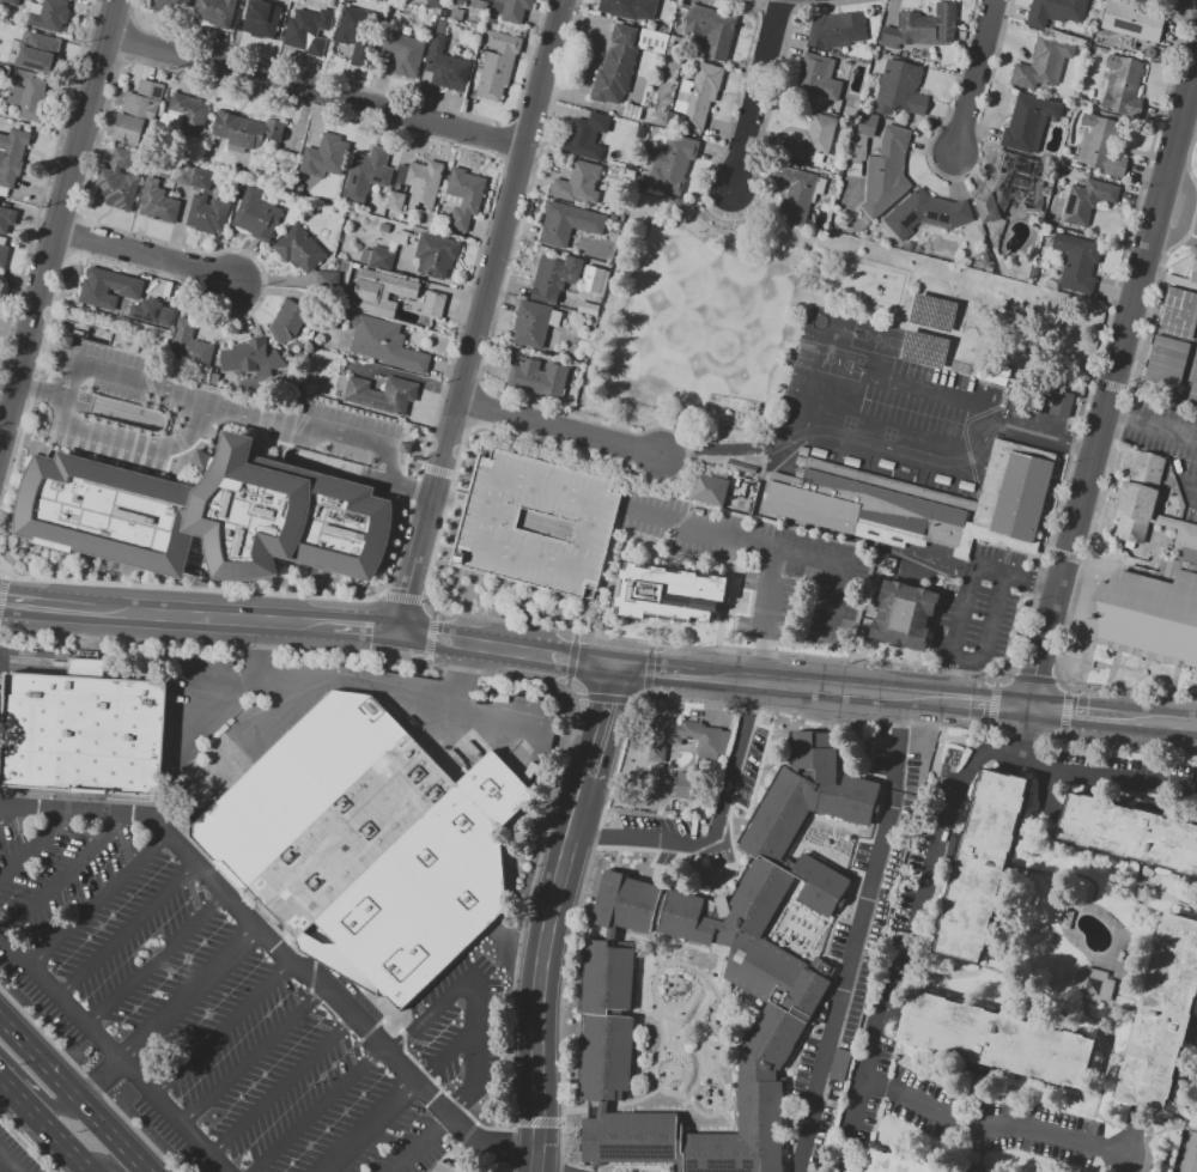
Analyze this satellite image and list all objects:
building: (11, 2)
building: (433, 4)
building: (169, 6)
building: (478, 8)
building: (630, 8)
building: (515, 10)
building: (214, 12)
building: (1055, 12)
building: (49, 14)
building: (262, 18)
building: (1132, 20)
building: (309, 24)
building: (356, 28)
building: (923, 28)
building: (712, 30)
building: (836, 30)
building: (6, 31)
road: (1196, 54)
building: (405, 55)
building: (42, 56)
building: (498, 63)
building: (1043, 63)
building: (446, 65)
building: (0, 66)
building: (616, 66)
building: (0, 71)
road: (972, 75)
building: (819, 77)
building: (1122, 84)
road: (315, 90)
building: (900, 90)
road: (753, 95)
building: (700, 96)
building: (28, 98)
road: (296, 103)
building: (138, 111)
building: (190, 111)
road: (1187, 119)
building: (1028, 123)
building: (251, 129)
building: (585, 136)
building: (812, 139)
building: (859, 141)
building: (1101, 145)
building: (12, 156)
building: (326, 156)
building: (672, 164)
building: (886, 171)
building: (366, 174)
building: (182, 175)
road: (950, 177)
building: (201, 180)
building: (119, 181)
building: (578, 183)
building: (423, 184)
building: (1013, 187)
building: (2, 190)
building: (796, 192)
building: (464, 196)
building: (0, 200)
building: (1087, 200)
building: (395, 201)
building: (157, 202)
road: (1184, 211)
building: (926, 212)
road: (743, 213)
building: (256, 214)
building: (207, 217)
building: (6, 219)
road: (57, 219)
building: (567, 224)
building: (1196, 229)
road: (75, 235)
building: (298, 249)
building: (2, 251)
road: (142, 254)
building: (435, 255)
building: (381, 259)
building: (1077, 262)
building: (1193, 273)
building: (554, 277)
building: (326, 280)
building: (595, 280)
building: (111, 291)
building: (381, 292)
building: (432, 305)
building: (588, 308)
building: (931, 311)
building: (1178, 312)
building: (159, 314)
road: (479, 316)
building: (288, 320)
park: (816, 321)
building: (534, 323)
park: (875, 338)
building: (189, 344)
building: (384, 344)
building: (924, 348)
building: (254, 358)
park: (828, 359)
building: (1166, 359)
building: (537, 378)
road: (1112, 378)
road: (897, 381)
building: (1193, 387)
building: (382, 394)
road: (224, 401)
building: (1061, 403)
road: (475, 407)
road: (1150, 424)
road: (558, 427)
road: (189, 429)
road: (99, 432)
road: (883, 445)
building: (1141, 487)
road: (1193, 487)
building: (709, 490)
building: (932, 500)
building: (205, 515)
building: (537, 523)
parking lot: (537, 523)
building: (1179, 530)
road: (736, 534)
flagpole: (955, 567)
road: (1034, 578)
road: (767, 587)
building: (667, 594)
road: (403, 595)
road: (968, 596)
road: (47, 601)
road: (213, 612)
building: (904, 614)
building: (1152, 617)
road: (534, 625)
road: (365, 627)
road: (826, 628)
road: (991, 633)
road: (260, 639)
road: (509, 649)
road: (761, 656)
road: (654, 670)
road: (294, 673)
road: (462, 675)
parking lot: (2, 679)
road: (947, 681)
road: (797, 684)
road: (923, 697)
road: (290, 702)
road: (985, 703)
road: (1071, 712)
parking lot: (231, 717)
road: (602, 721)
road: (1156, 723)
building: (83, 733)
building: (689, 737)
building: (685, 784)
building: (299, 785)
road: (10, 816)
road: (715, 825)
building: (1129, 833)
building: (353, 840)
road: (35, 845)
road: (940, 857)
building: (979, 869)
road: (65, 878)
building: (423, 893)
road: (98, 901)
road: (127, 929)
road: (857, 934)
road: (279, 952)
building: (729, 957)
road: (158, 961)
road: (539, 971)
building: (1092, 985)
road: (474, 997)
parking lot: (229, 1006)
road: (170, 1014)
building: (1161, 1018)
road: (223, 1030)
building: (995, 1039)
road: (116, 1052)
road: (254, 1056)
building: (838, 1064)
road: (282, 1083)
road: (74, 1091)
road: (22, 1095)
road: (399, 1100)
road: (62, 1107)
road: (320, 1109)
road: (992, 1129)
building: (630, 1137)
road: (424, 1143)
road: (69, 1144)
road: (1132, 1150)
park: (1187, 1153)
parking lot: (13, 1158)
road: (1098, 1161)
road: (107, 1164)
building: (900, 1164)
road: (5, 1166)
building: (444, 1167)
road: (86, 1168)
road: (548, 1168)

